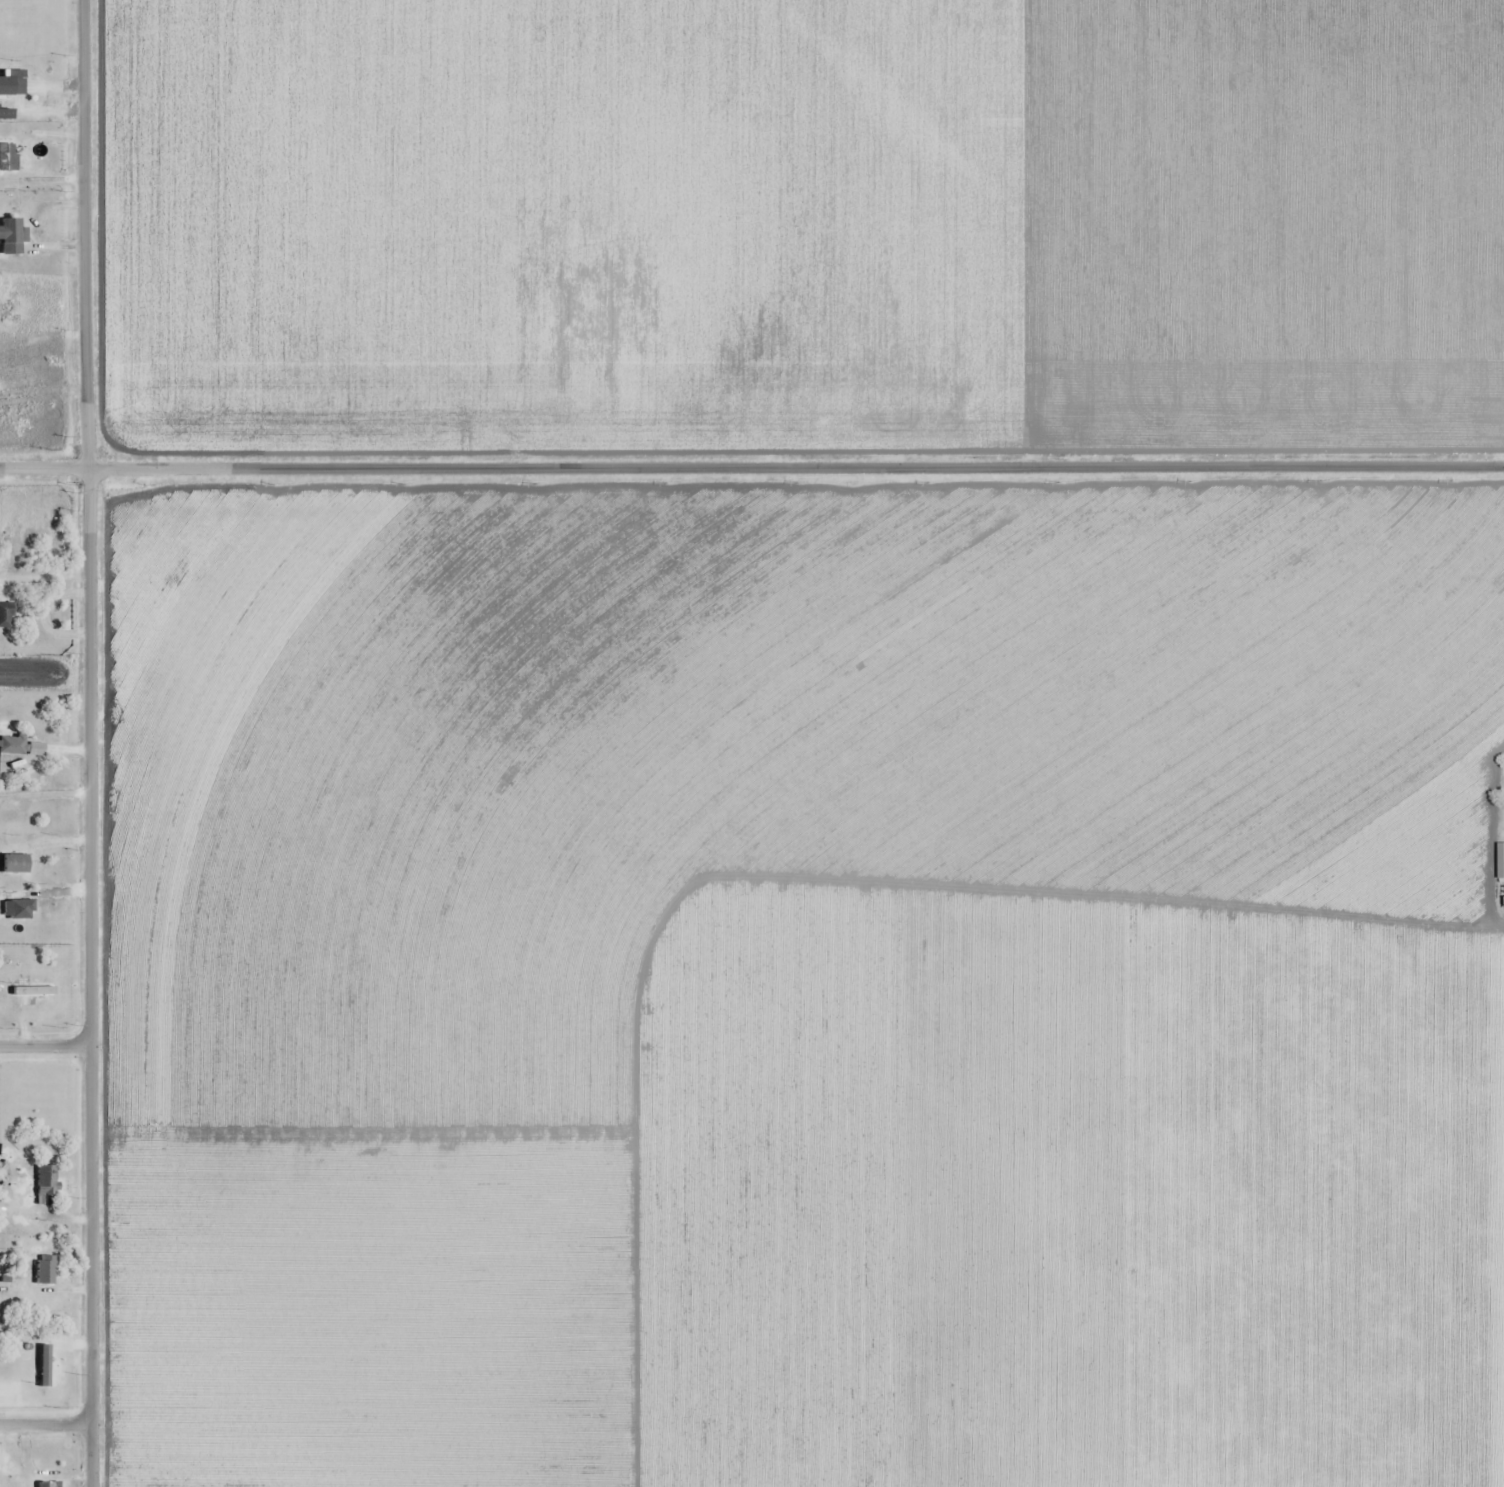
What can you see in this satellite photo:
building: (8, 156)
building: (11, 236)
road: (751, 468)
building: (6, 615)
road: (92, 743)
building: (22, 747)
building: (1501, 863)
building: (29, 994)
road: (47, 1045)
building: (48, 1179)
building: (45, 1269)
road: (48, 1424)
building: (47, 1484)

